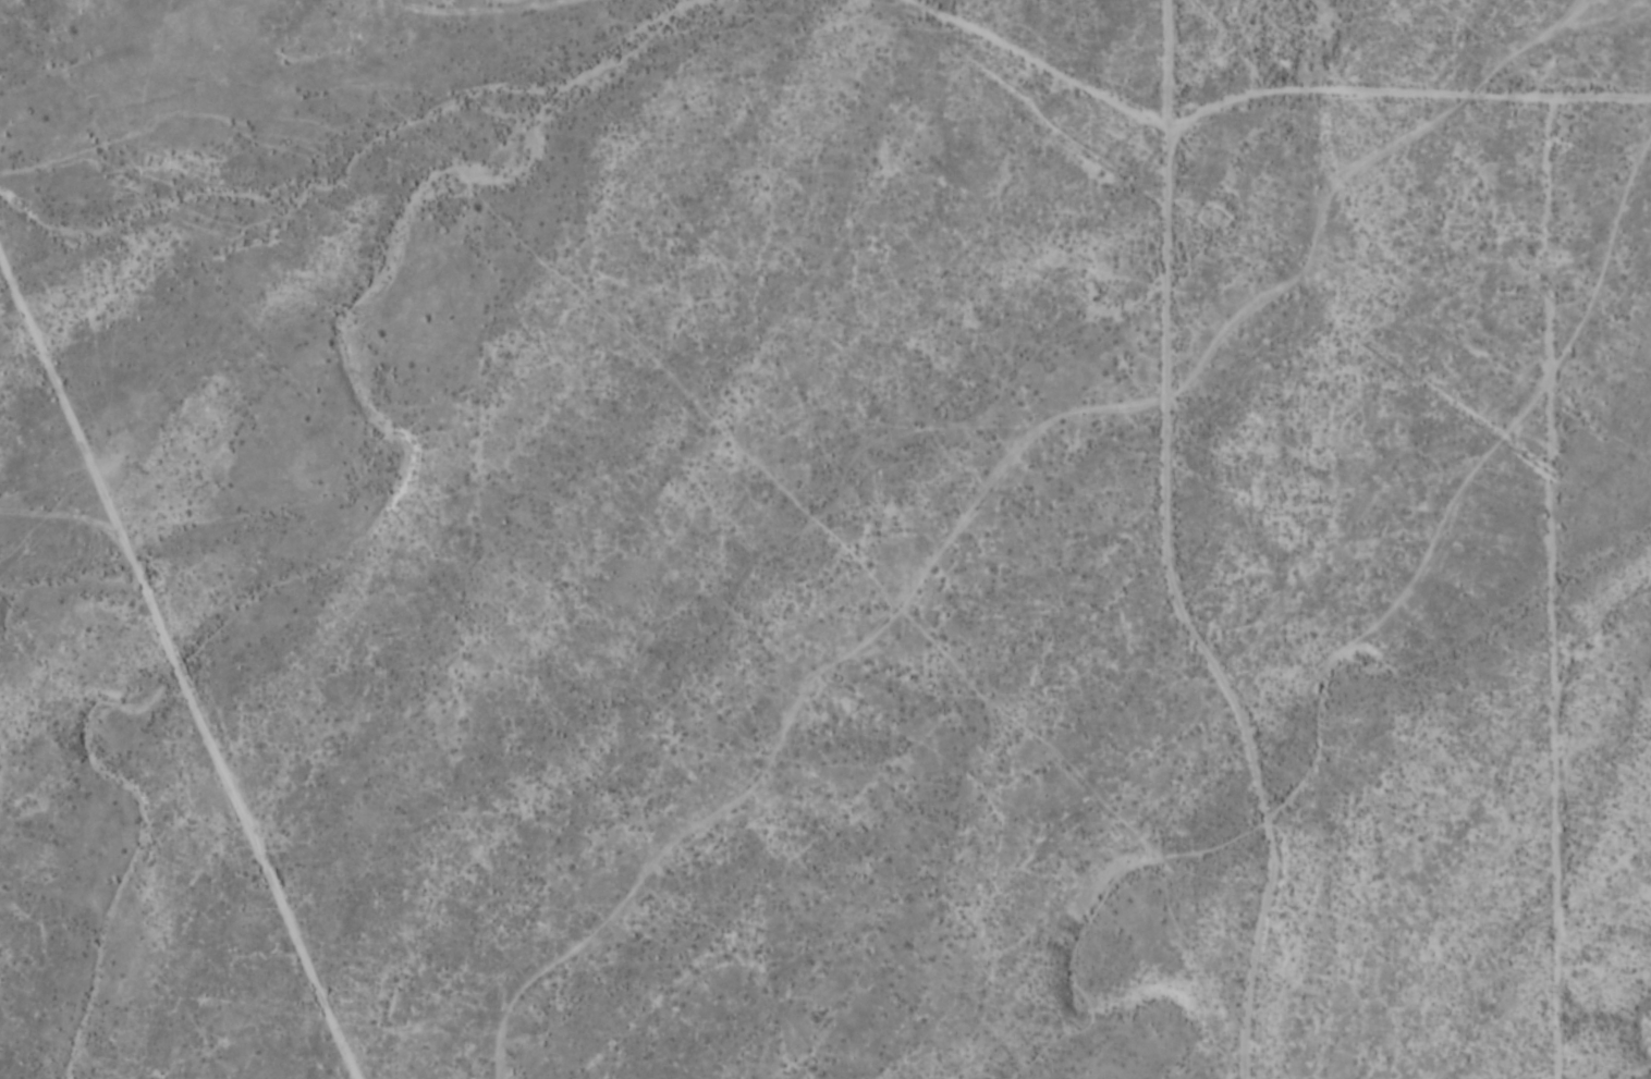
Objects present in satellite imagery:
road: (1404, 127)
road: (1164, 547)

